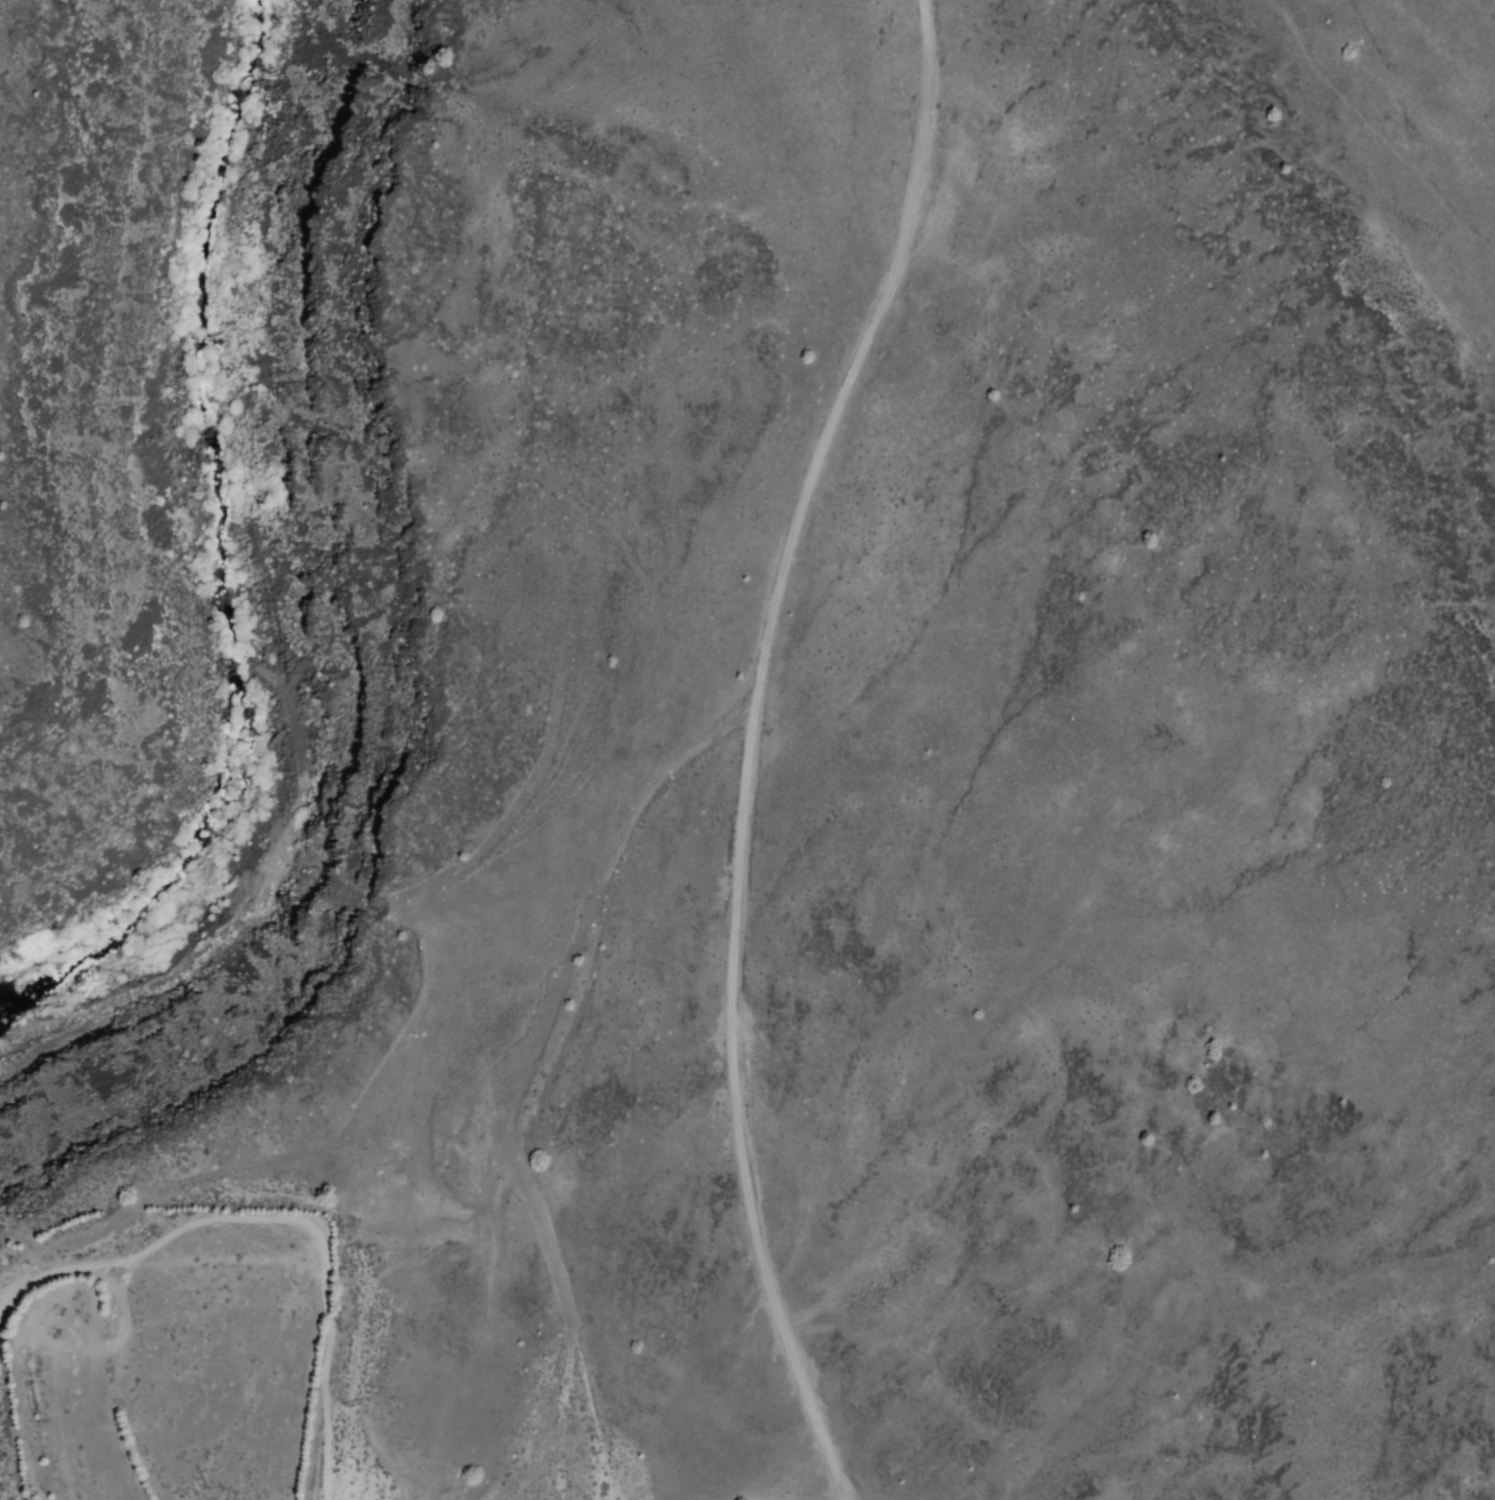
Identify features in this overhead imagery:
road: (706, 749)

